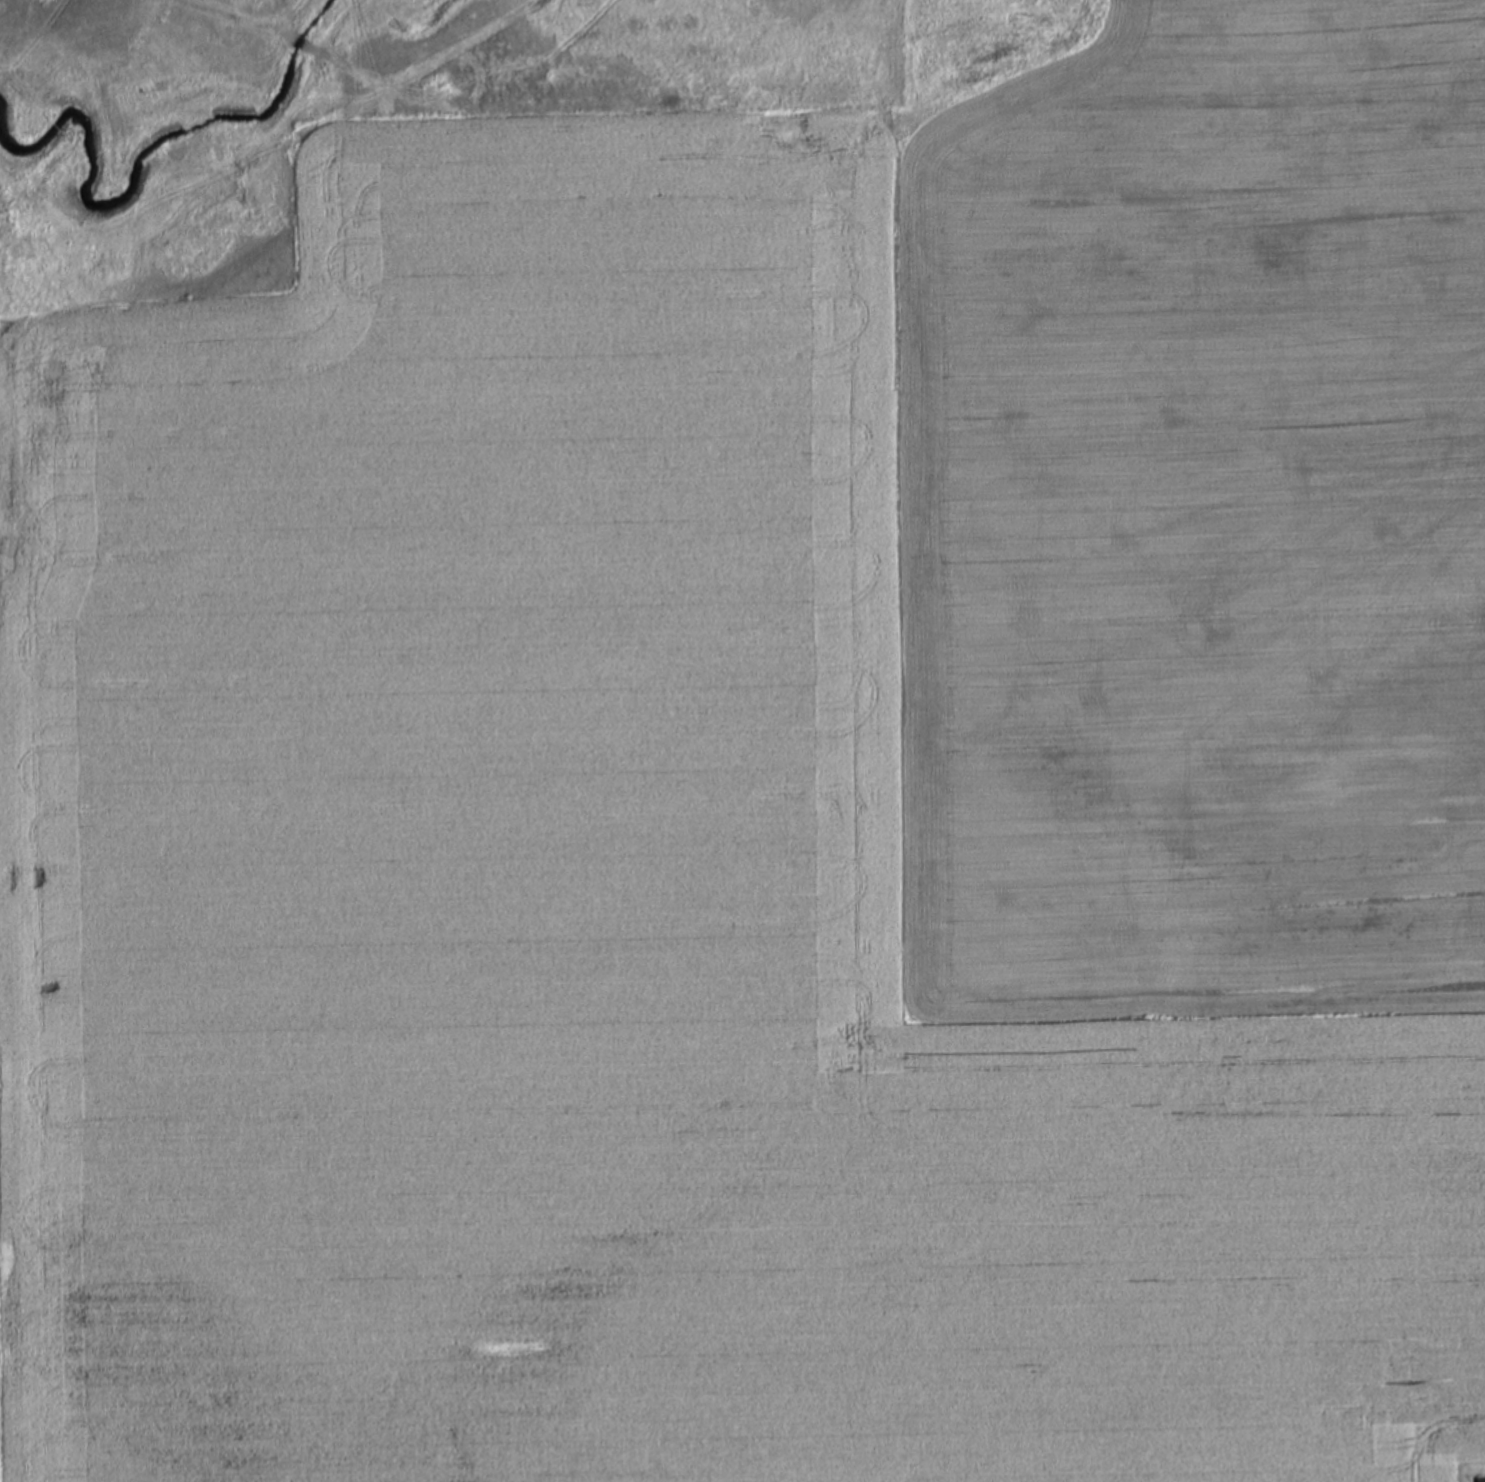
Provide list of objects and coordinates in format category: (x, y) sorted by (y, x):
building: (1482, 1480)

